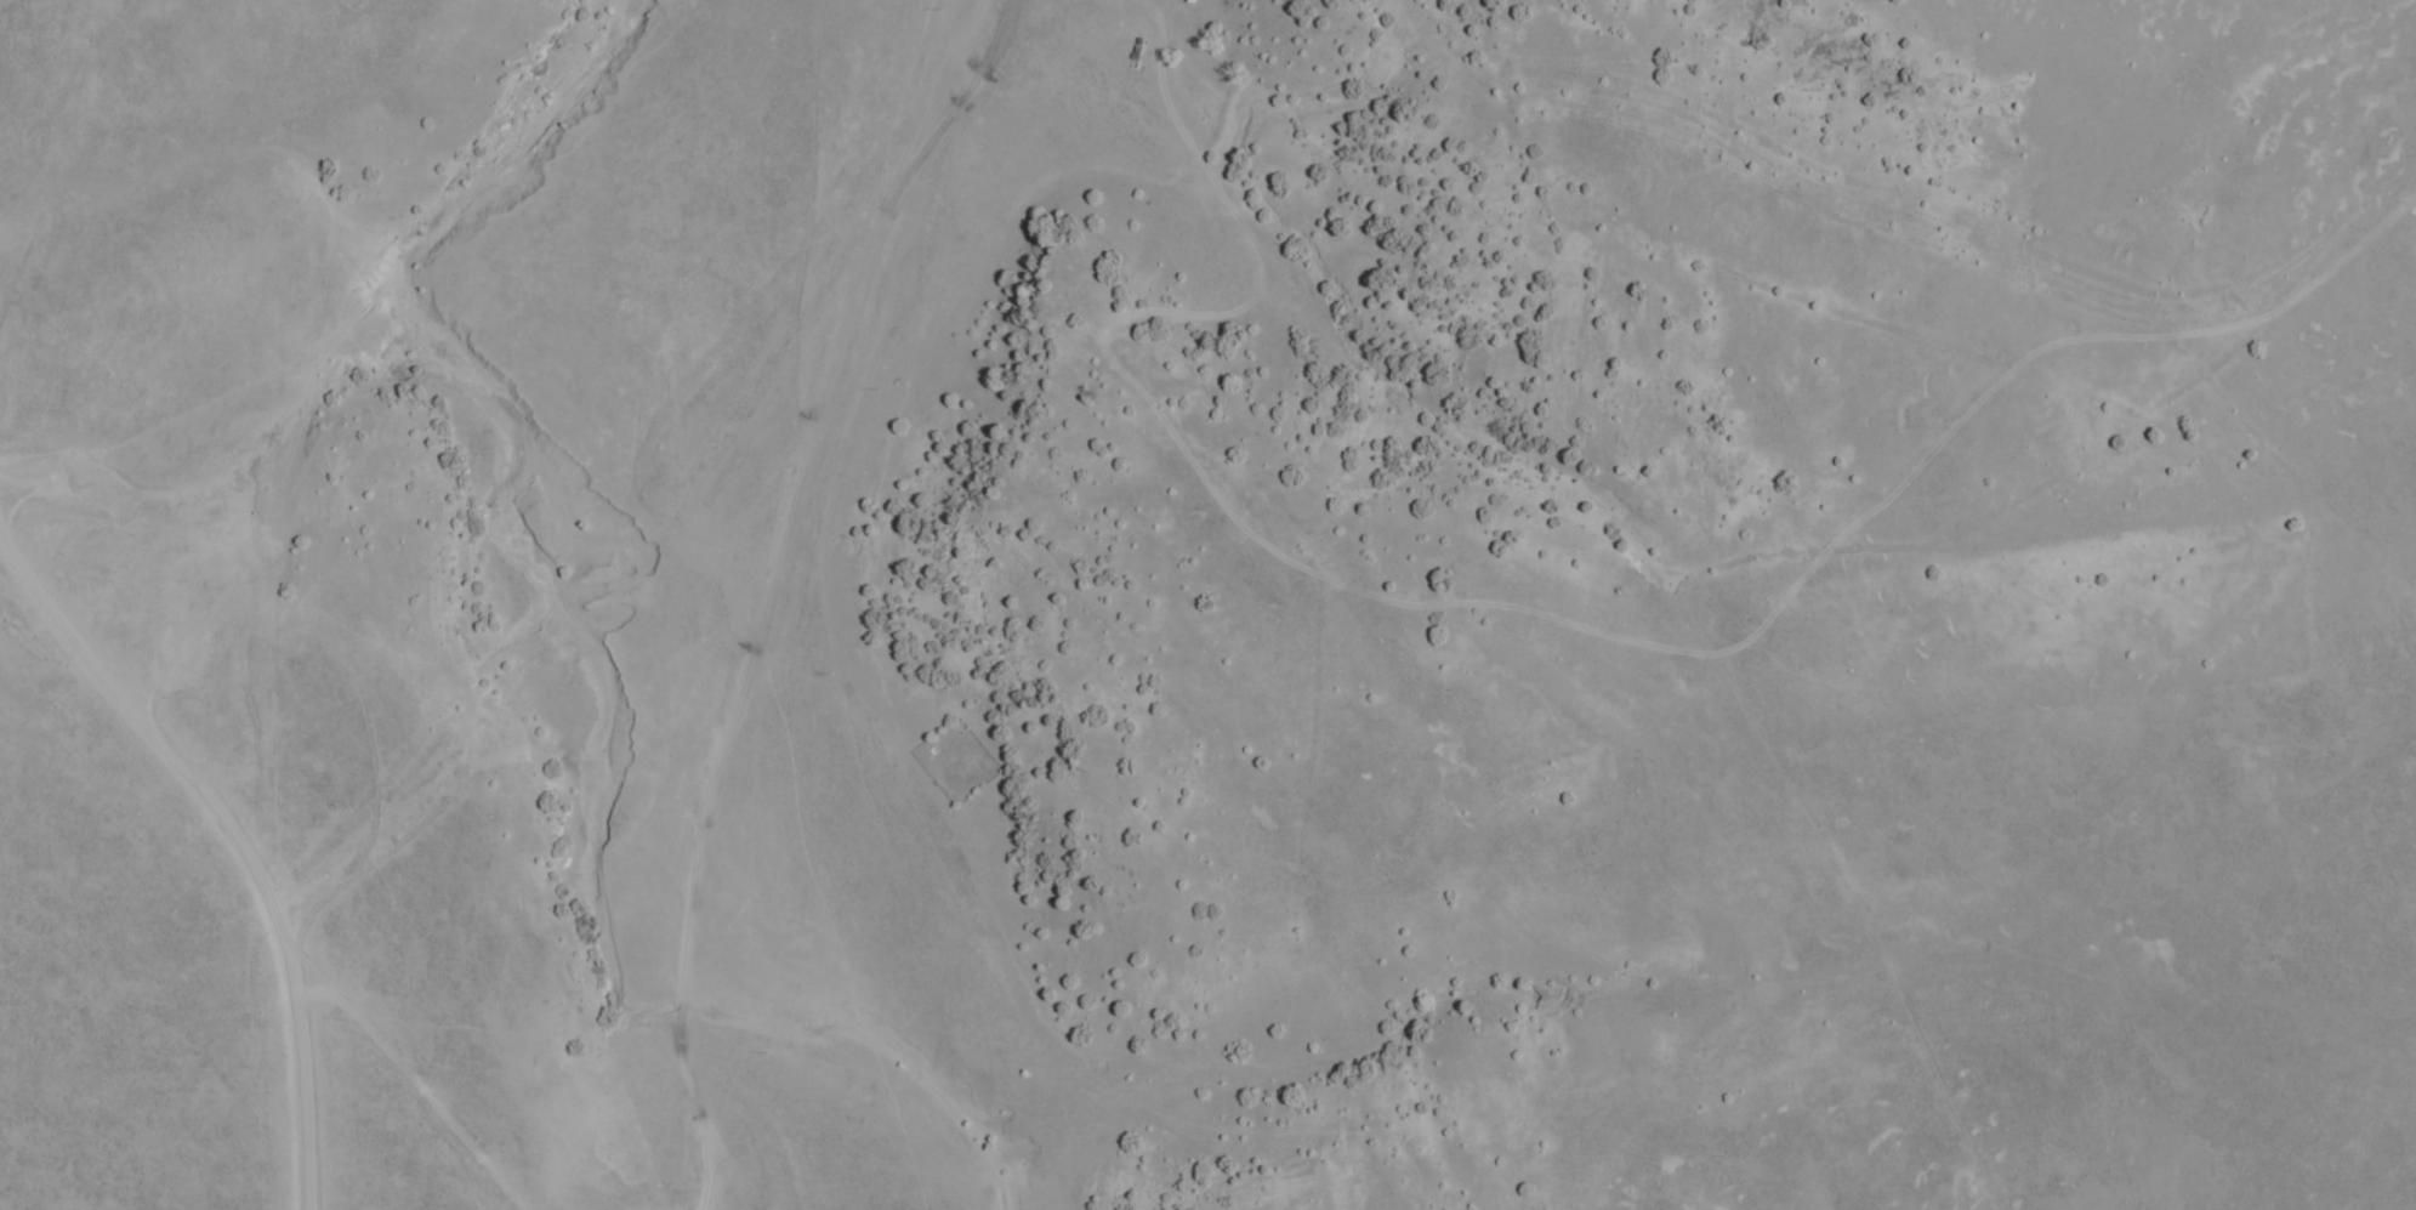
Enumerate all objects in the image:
road: (36, 95)
road: (650, 655)
park: (953, 761)
road: (141, 780)

